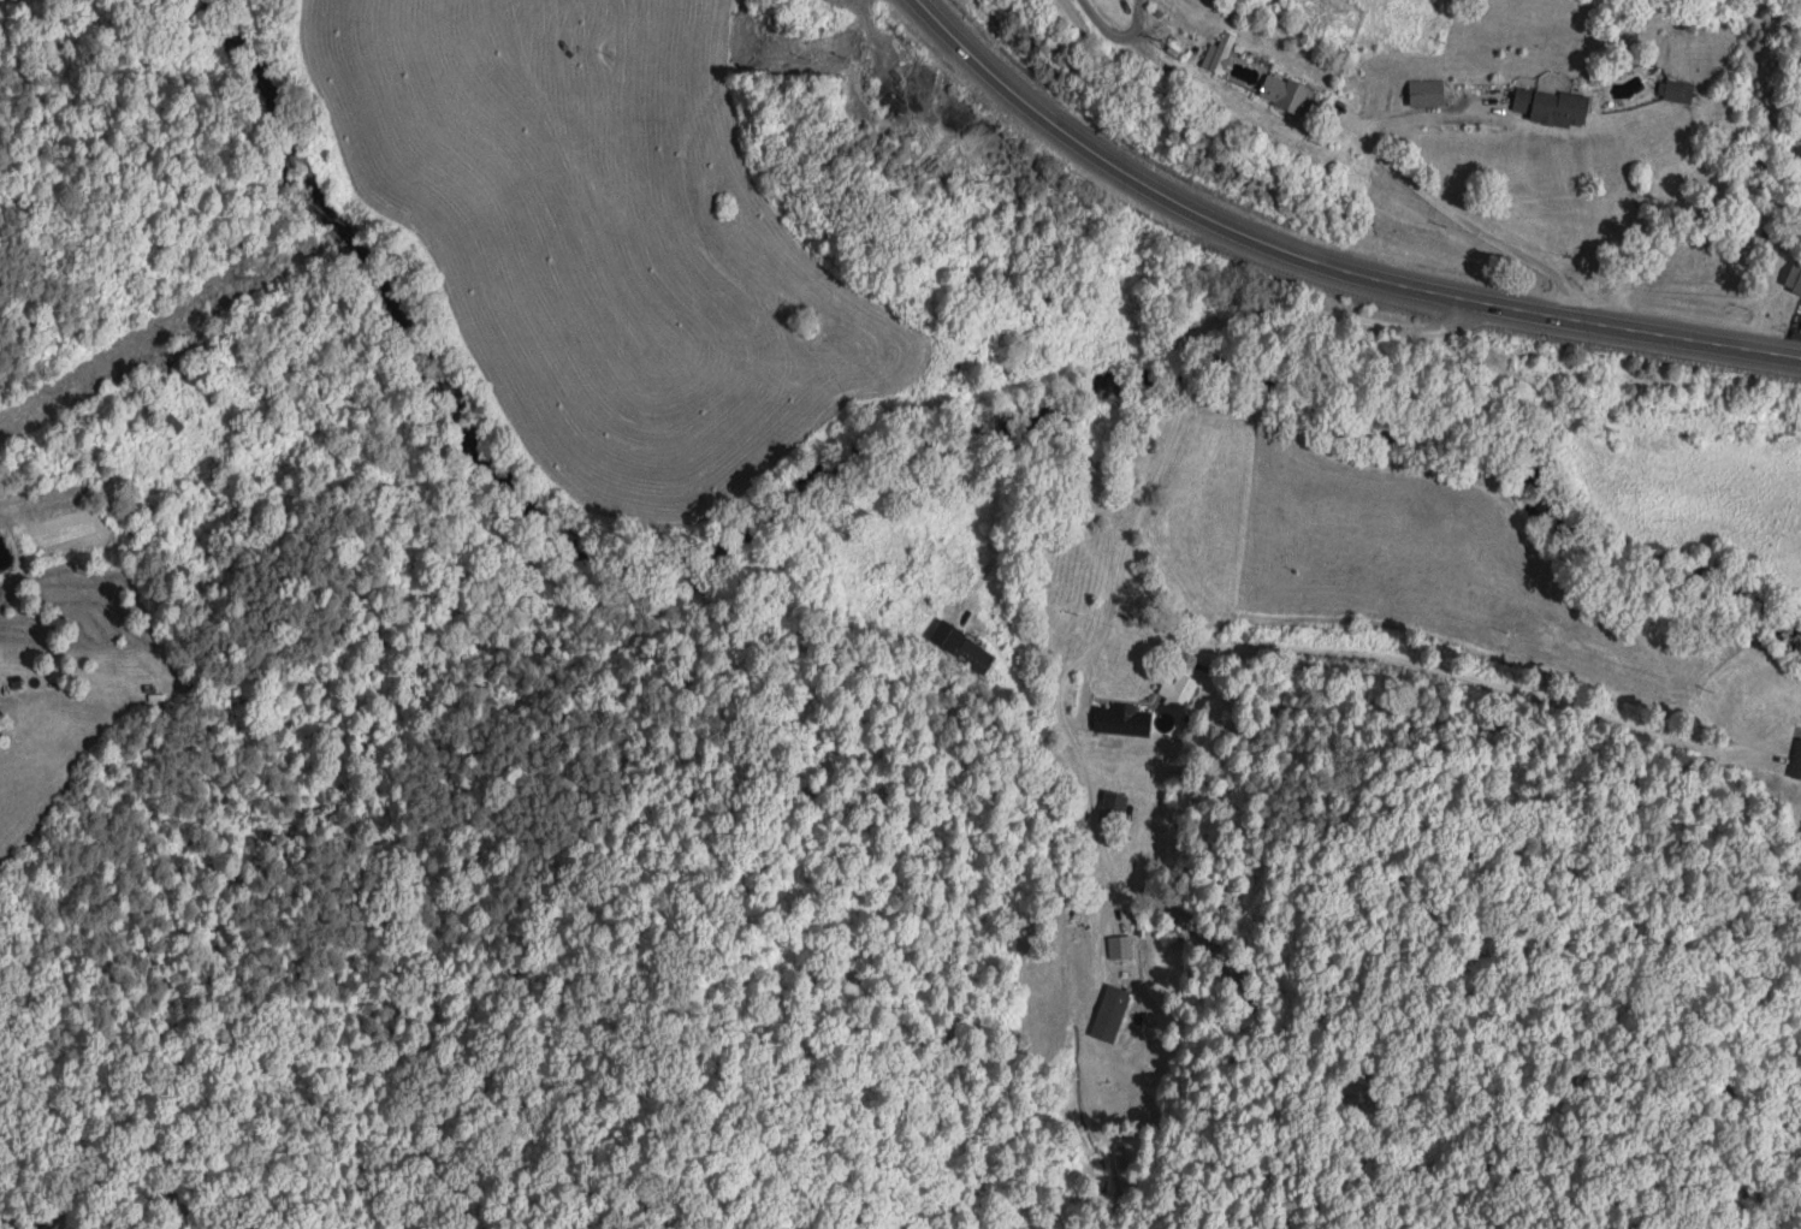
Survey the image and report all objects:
road: (191, 10)
road: (865, 24)
road: (635, 127)
road: (182, 207)
road: (1322, 263)
road: (1245, 364)

